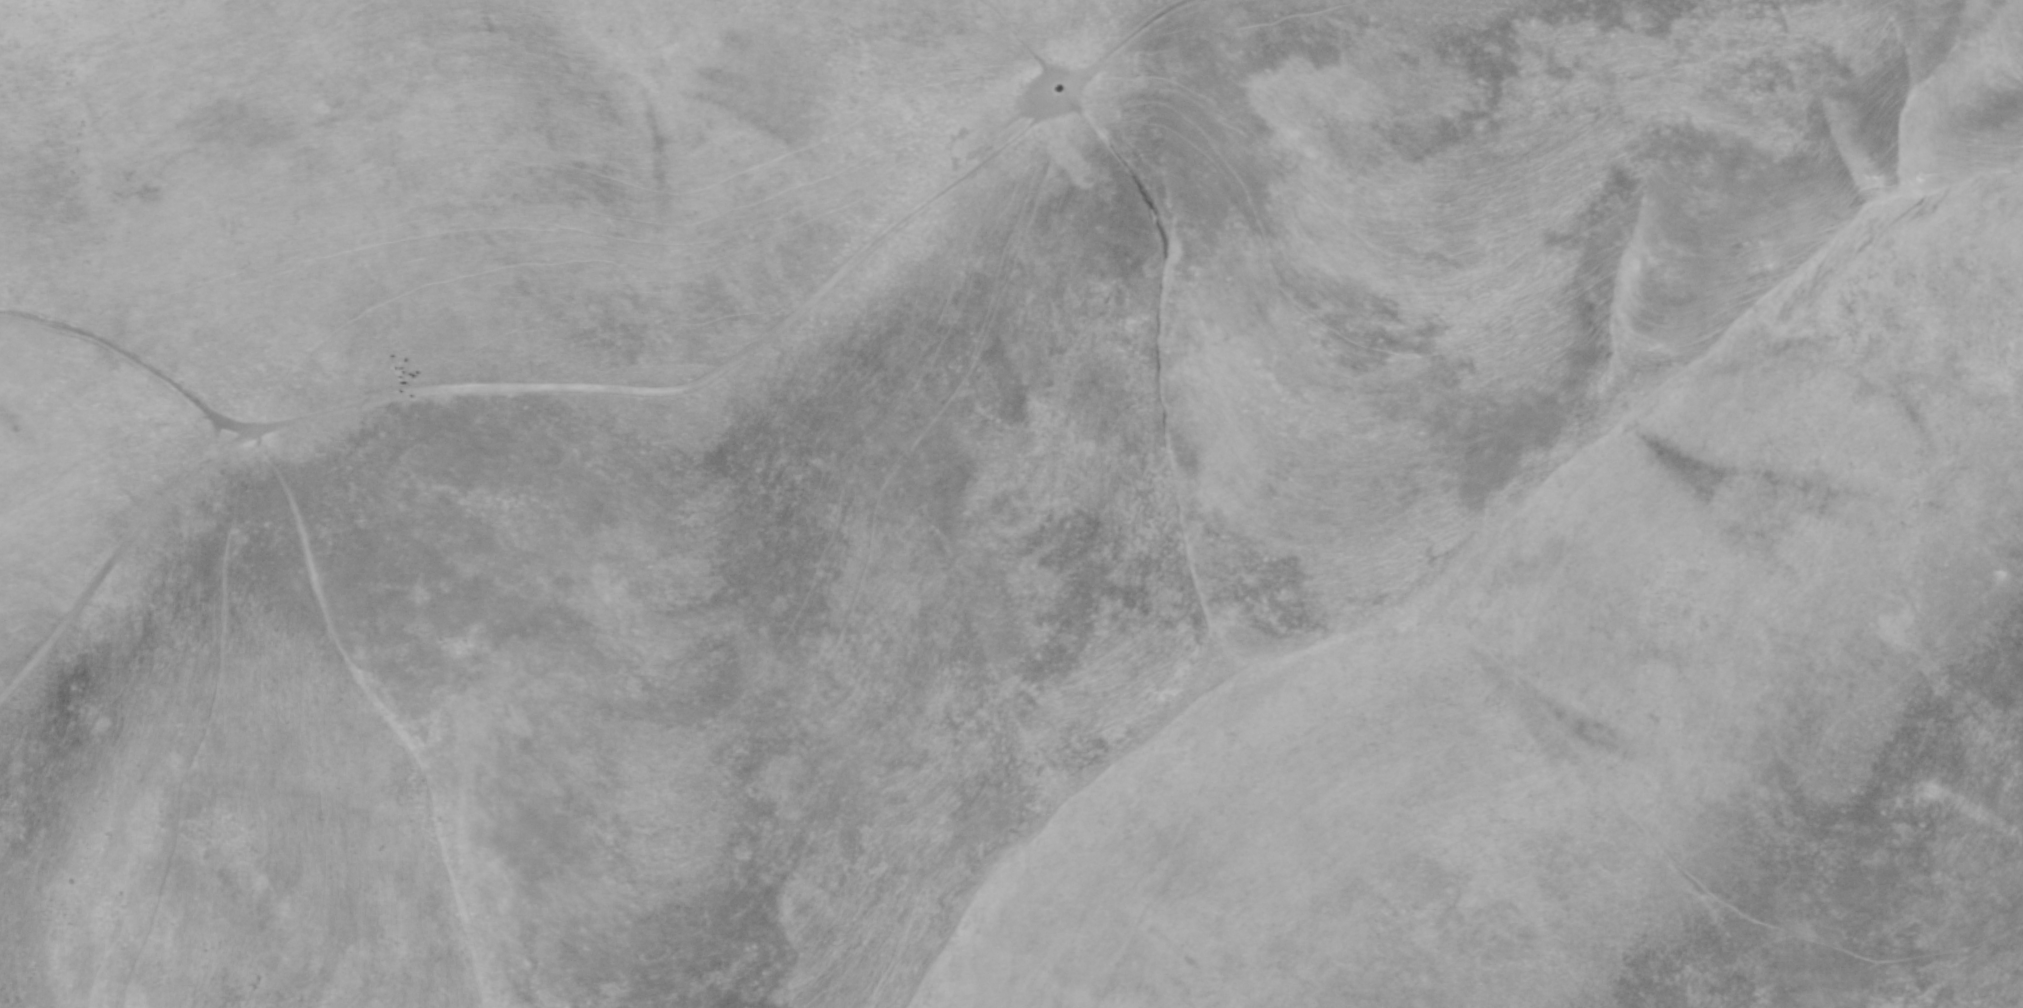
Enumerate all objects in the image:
road: (123, 357)

